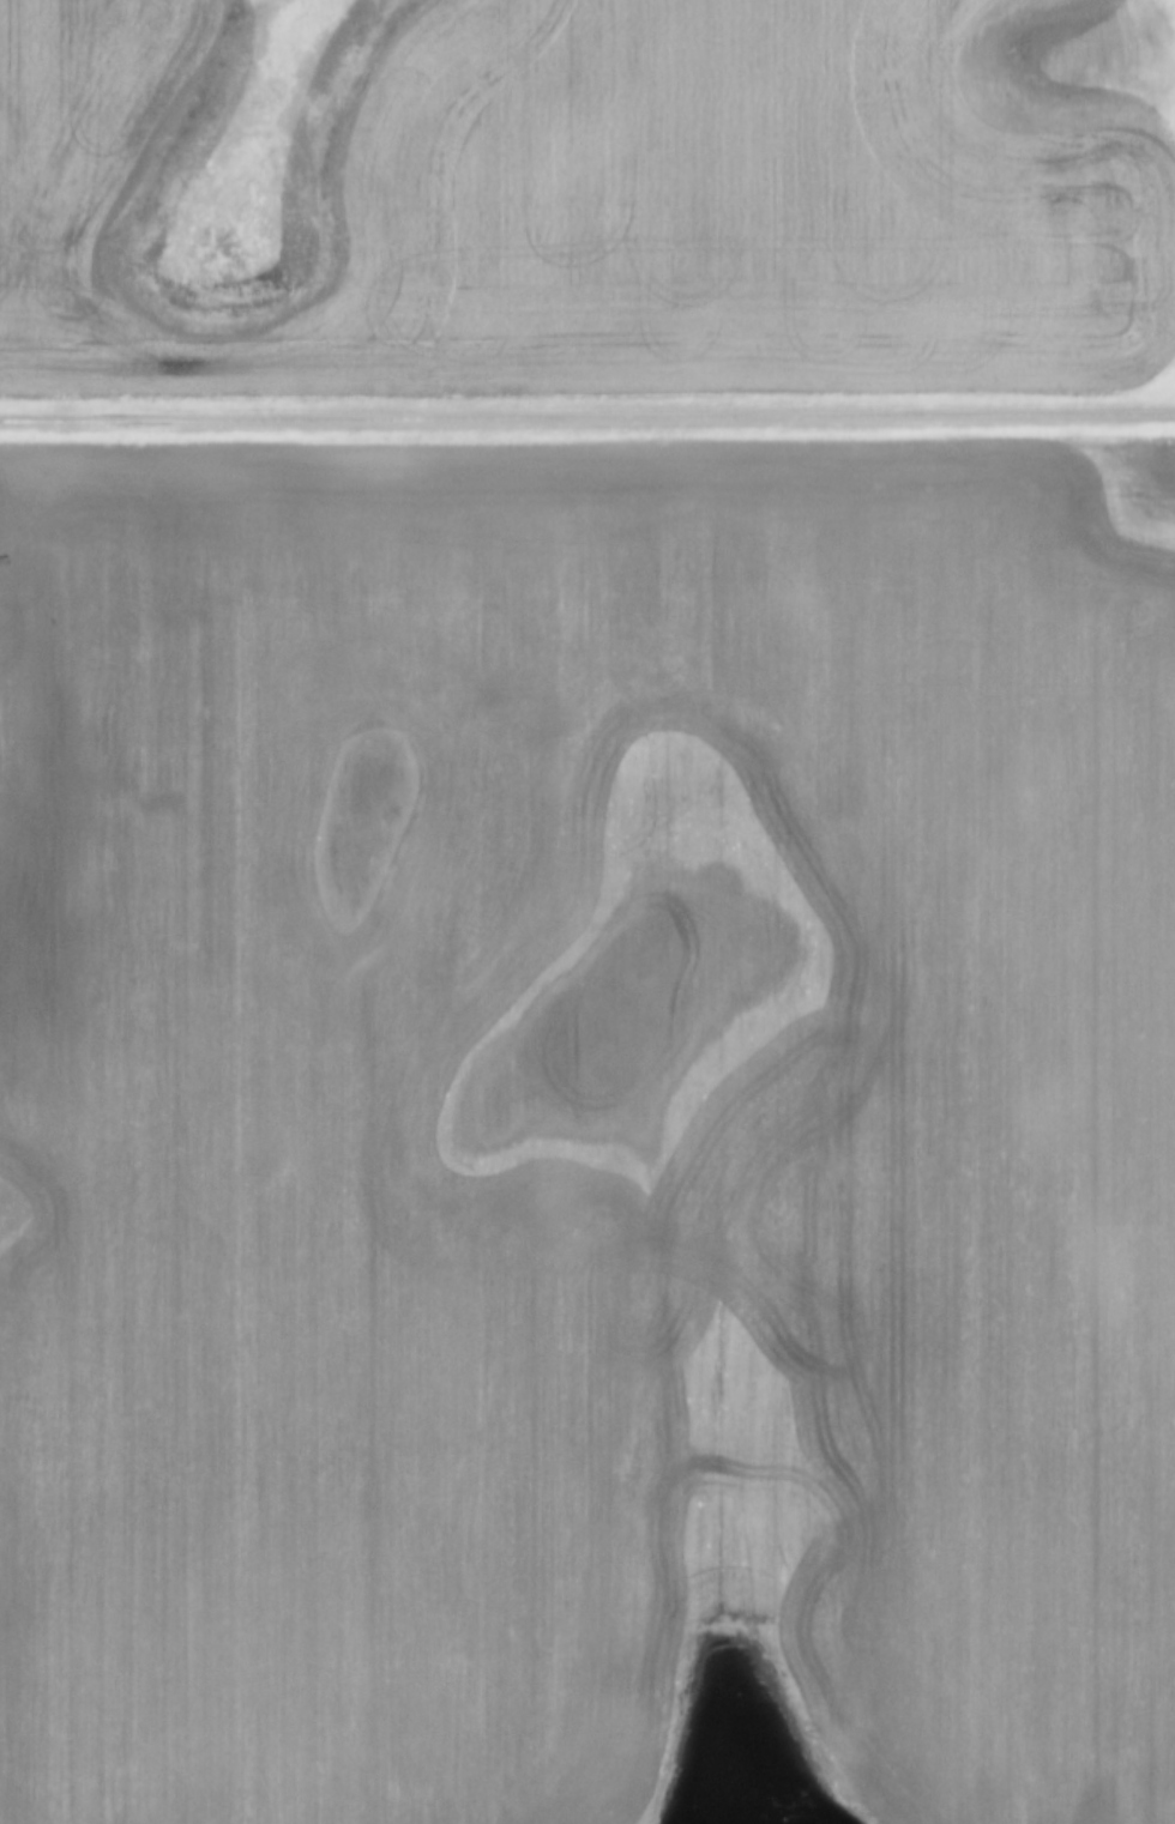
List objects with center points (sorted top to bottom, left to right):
road: (587, 422)

